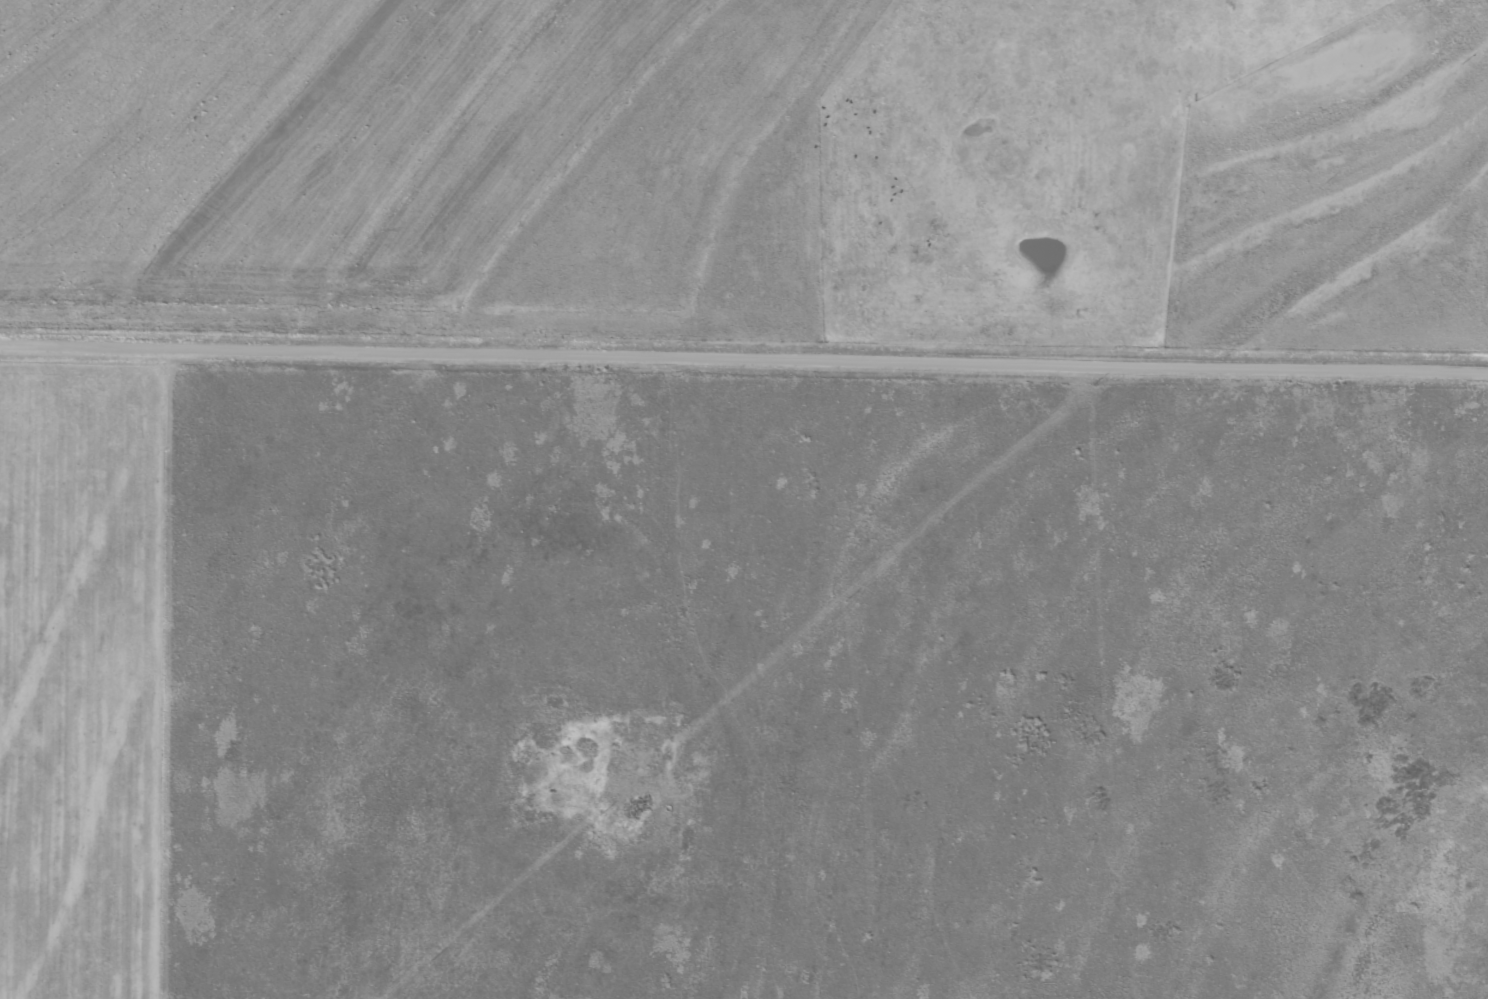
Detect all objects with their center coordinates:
road: (744, 351)
road: (670, 528)

